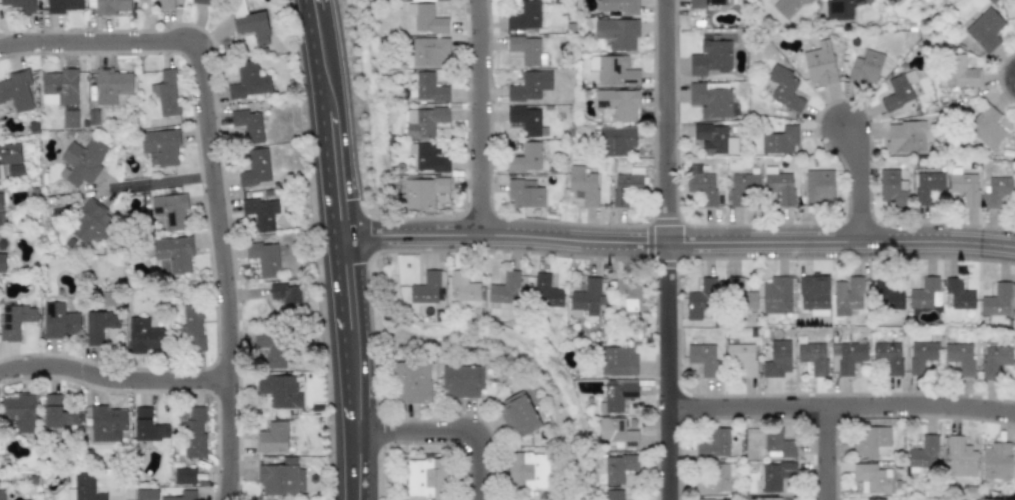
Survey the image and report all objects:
building: (809, 1)
building: (199, 3)
building: (889, 3)
building: (22, 4)
building: (164, 4)
building: (64, 5)
building: (618, 5)
building: (108, 6)
building: (786, 6)
building: (839, 9)
building: (712, 12)
building: (525, 16)
building: (425, 18)
building: (252, 26)
building: (986, 28)
building: (619, 33)
building: (430, 52)
building: (711, 58)
building: (504, 59)
building: (822, 63)
building: (867, 67)
building: (959, 71)
building: (617, 72)
building: (249, 81)
building: (111, 85)
building: (532, 85)
building: (428, 88)
building: (786, 88)
building: (16, 91)
building: (900, 91)
building: (165, 92)
building: (61, 93)
building: (711, 100)
building: (619, 102)
road: (482, 116)
building: (424, 121)
building: (526, 121)
building: (248, 124)
building: (986, 127)
building: (905, 137)
building: (713, 140)
building: (781, 140)
building: (615, 142)
building: (161, 146)
building: (9, 153)
building: (428, 158)
building: (527, 158)
building: (82, 162)
building: (256, 167)
building: (14, 170)
road: (207, 174)
road: (859, 181)
road: (152, 183)
building: (584, 183)
building: (701, 183)
building: (825, 184)
building: (778, 186)
building: (928, 186)
building: (626, 187)
building: (747, 187)
building: (966, 187)
building: (891, 189)
building: (996, 190)
building: (421, 192)
building: (527, 195)
building: (0, 201)
building: (170, 210)
building: (260, 212)
building: (90, 228)
road: (676, 241)
road: (339, 249)
road: (667, 250)
building: (172, 254)
building: (264, 258)
building: (2, 262)
building: (463, 285)
building: (504, 289)
building: (424, 290)
building: (547, 290)
building: (814, 291)
building: (892, 292)
building: (961, 292)
building: (286, 294)
building: (631, 294)
building: (927, 294)
building: (589, 295)
building: (740, 295)
building: (777, 295)
building: (851, 297)
building: (703, 298)
building: (997, 303)
building: (15, 320)
building: (59, 320)
building: (99, 326)
building: (191, 328)
building: (144, 335)
building: (272, 349)
building: (742, 355)
building: (815, 355)
building: (889, 356)
building: (921, 356)
building: (702, 357)
building: (846, 357)
building: (961, 357)
building: (779, 359)
building: (995, 359)
building: (619, 361)
building: (463, 381)
road: (114, 382)
building: (410, 382)
building: (279, 390)
building: (620, 394)
building: (20, 411)
building: (58, 413)
building: (522, 414)
road: (843, 415)
building: (106, 423)
building: (147, 426)
road: (447, 431)
building: (620, 433)
building: (191, 434)
building: (273, 435)
building: (872, 441)
building: (779, 444)
building: (715, 446)
building: (925, 452)
road: (829, 458)
building: (962, 459)
building: (999, 463)
building: (533, 471)
building: (617, 471)
building: (184, 476)
building: (281, 476)
building: (427, 476)
building: (874, 476)
building: (777, 477)
building: (714, 480)
building: (83, 487)
building: (146, 494)
building: (614, 494)
building: (1, 495)
building: (182, 496)
building: (769, 498)
building: (716, 499)
building: (874, 499)

